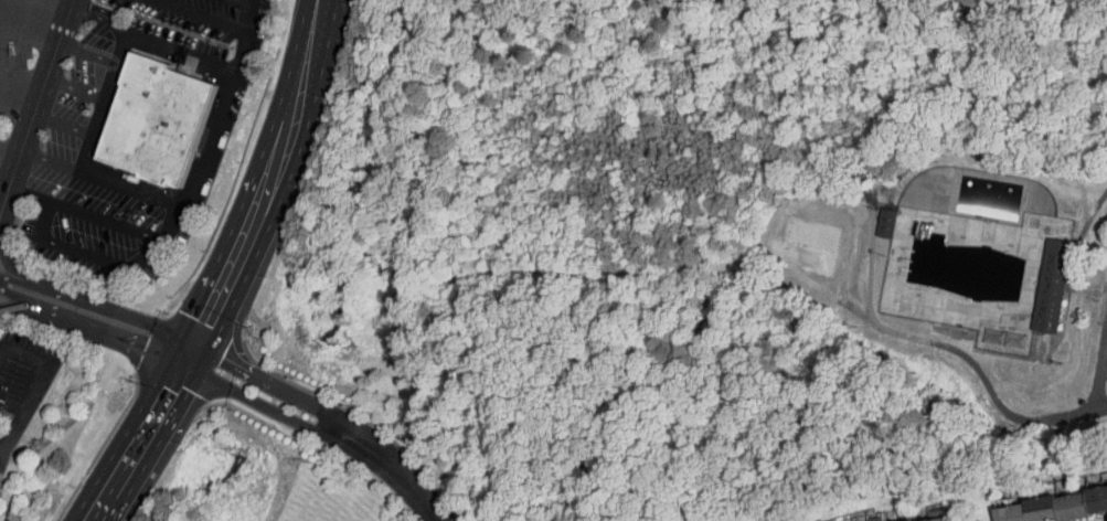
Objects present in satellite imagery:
road: (56, 4)
road: (71, 4)
road: (198, 14)
road: (62, 26)
road: (28, 35)
road: (87, 53)
parking lot: (19, 55)
road: (178, 57)
road: (22, 74)
road: (114, 74)
road: (75, 88)
road: (36, 100)
road: (15, 113)
building: (157, 121)
road: (63, 124)
road: (211, 145)
road: (9, 151)
road: (12, 171)
road: (102, 179)
road: (274, 184)
road: (3, 187)
road: (3, 194)
road: (3, 196)
road: (3, 203)
road: (84, 214)
building: (874, 216)
building: (887, 223)
road: (1078, 234)
park: (719, 242)
park: (808, 244)
road: (1, 245)
road: (67, 246)
road: (871, 258)
road: (19, 279)
building: (1039, 279)
building: (1051, 285)
road: (1085, 290)
road: (10, 296)
road: (9, 304)
road: (119, 313)
road: (104, 332)
traffic signals: (201, 345)
road: (1105, 352)
road: (191, 362)
road: (1100, 364)
traffic signals: (189, 368)
road: (979, 371)
parking lot: (22, 382)
road: (270, 382)
road: (34, 387)
road: (260, 402)
road: (143, 445)
road: (395, 465)
building: (1045, 500)
building: (900, 514)

